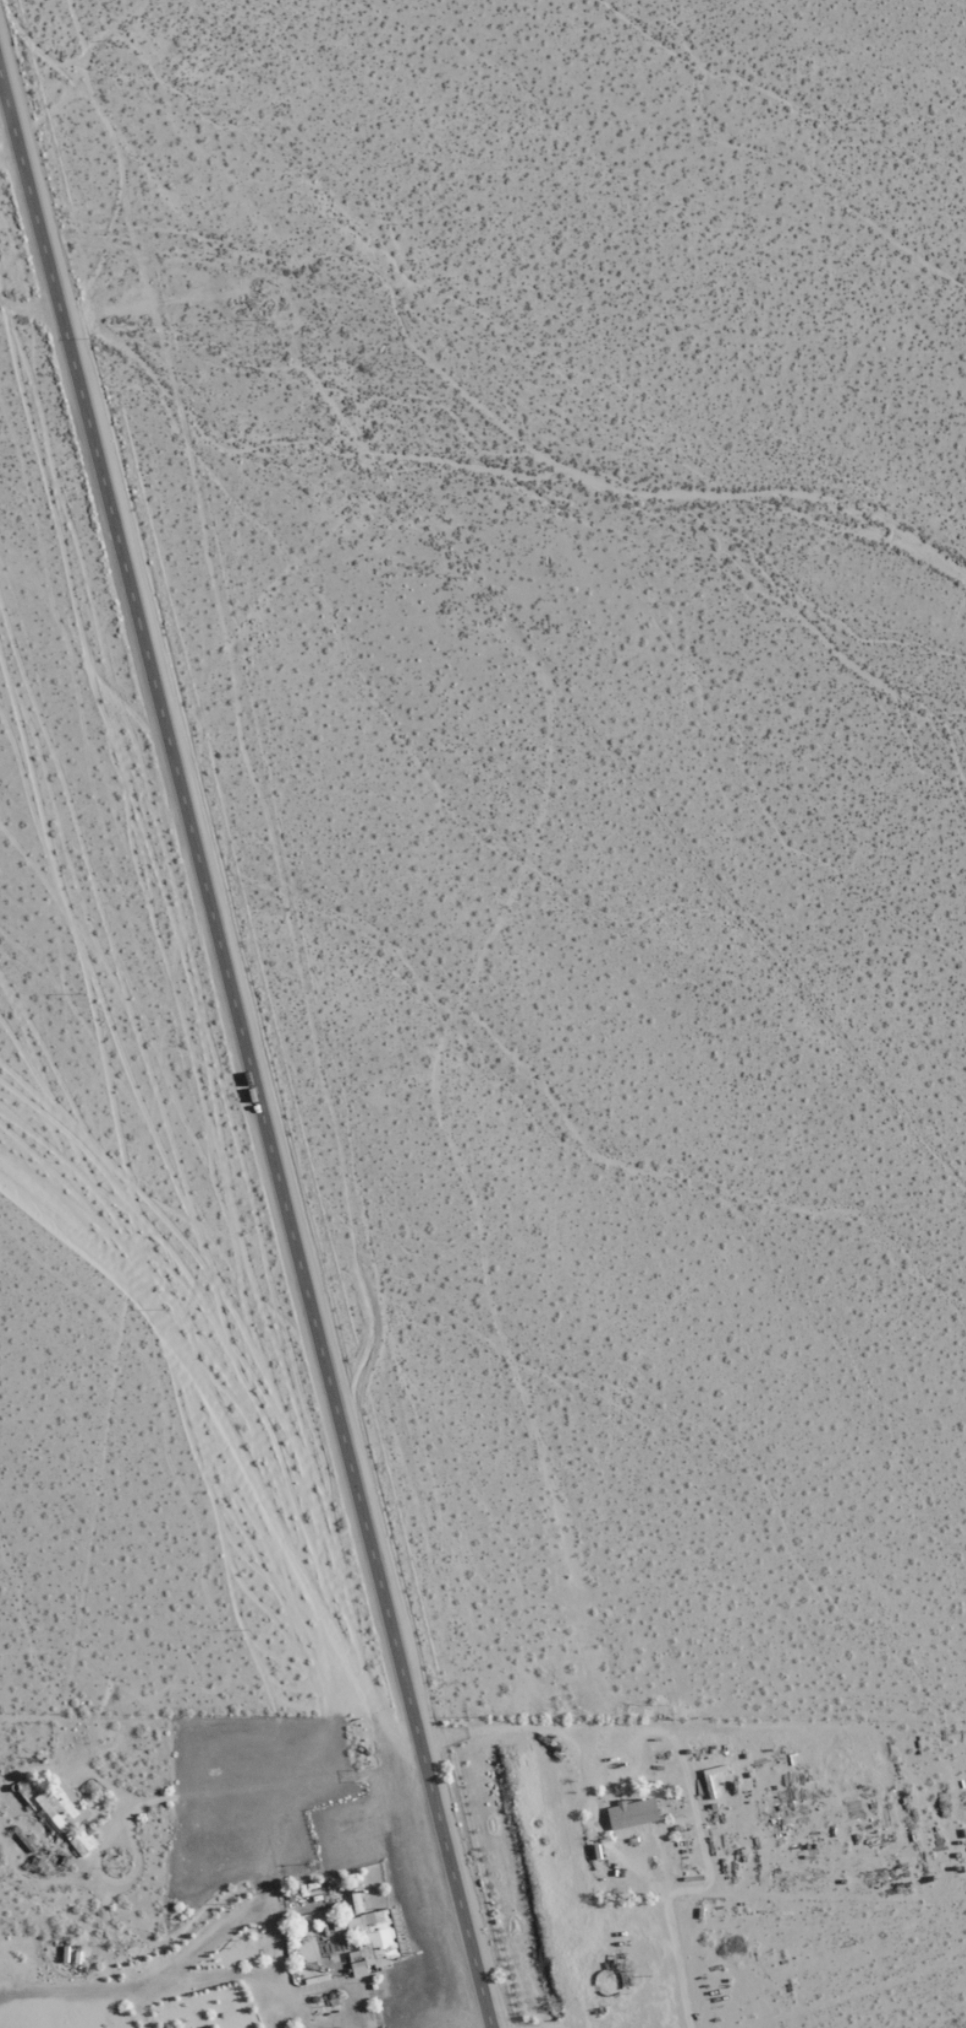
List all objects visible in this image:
road: (6, 129)
road: (245, 1050)
road: (188, 1795)
building: (67, 1816)
road: (448, 2017)

